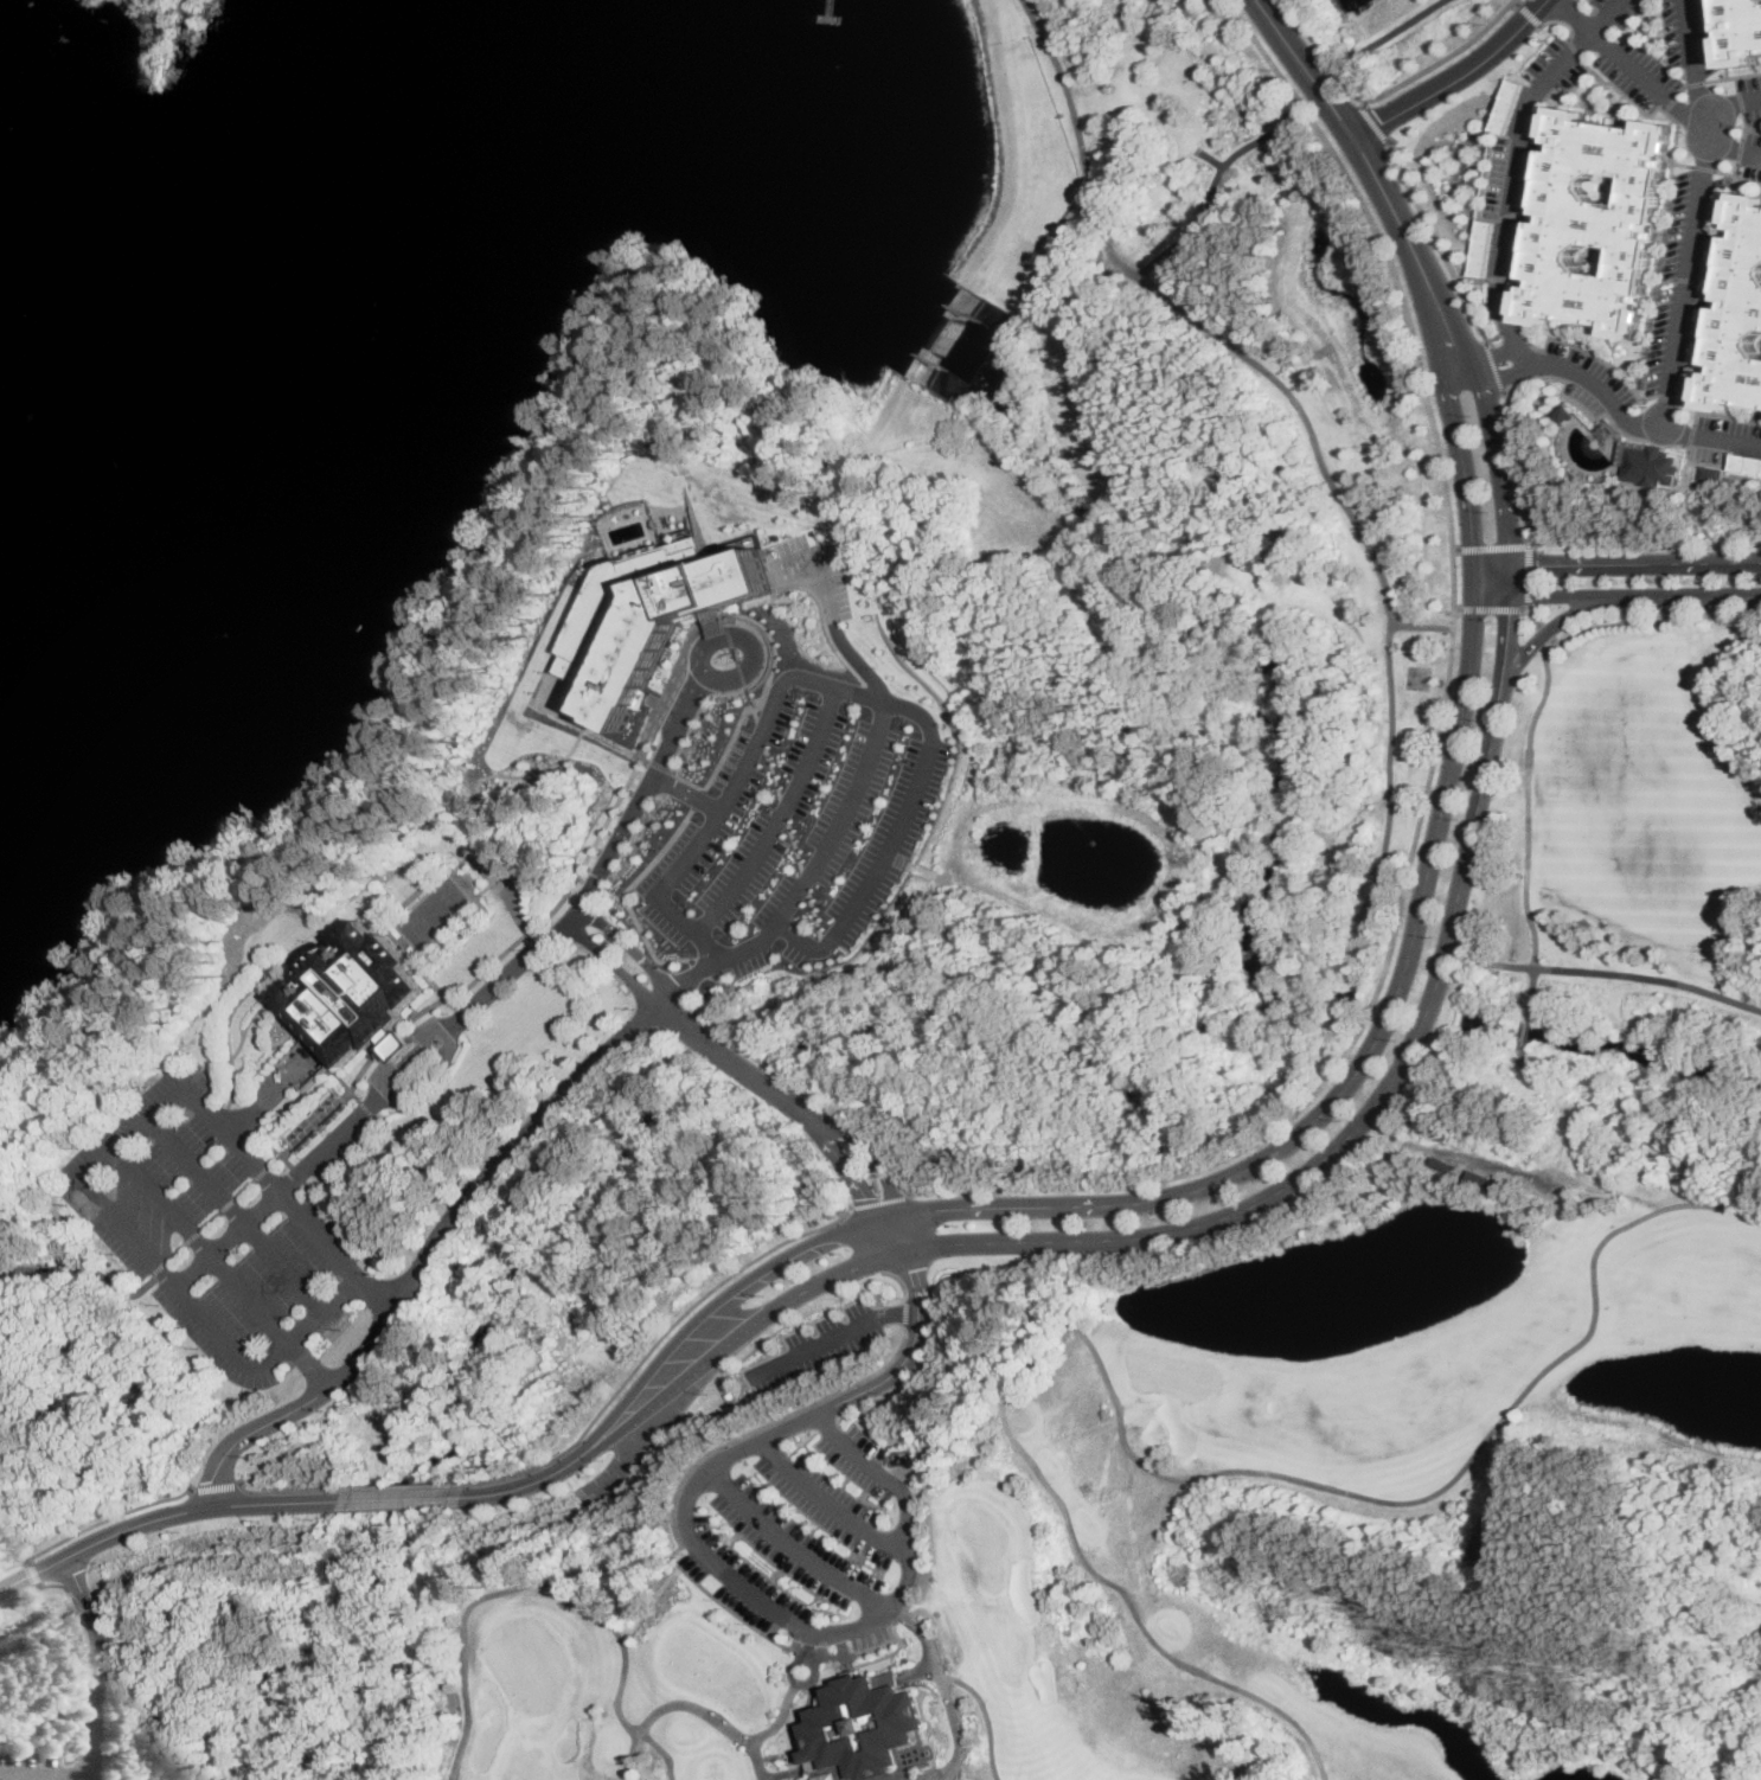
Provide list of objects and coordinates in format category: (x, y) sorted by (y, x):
parking lot: (1596, 1)
road: (1518, 2)
pier: (833, 8)
parking lot: (1627, 12)
road: (1530, 14)
road: (1575, 15)
pier: (832, 17)
road: (1560, 19)
road: (1397, 27)
parking lot: (1671, 31)
building: (1741, 32)
parking lot: (1704, 36)
road: (1718, 38)
road: (1573, 47)
parking lot: (1543, 55)
road: (1445, 60)
parking lot: (1648, 60)
road: (1583, 62)
road: (1314, 65)
road: (1691, 65)
road: (1742, 73)
parking lot: (1569, 76)
road: (1460, 77)
road: (1712, 78)
parking lot: (1622, 81)
road: (1647, 82)
road: (1692, 82)
parking lot: (1749, 82)
road: (1734, 83)
road: (1554, 88)
road: (1678, 88)
road: (1122, 89)
road: (1737, 100)
road: (1667, 102)
parking lot: (1506, 104)
building: (1507, 104)
road: (1610, 105)
road: (1730, 105)
road: (1118, 113)
parking lot: (1753, 114)
road: (1203, 122)
road: (1381, 123)
park: (1754, 123)
road: (1741, 126)
road: (1747, 126)
parking lot: (1750, 137)
road: (1731, 148)
road: (1736, 149)
road: (1679, 164)
road: (1701, 166)
parking lot: (1748, 168)
road: (1728, 174)
parking lot: (1496, 175)
road: (1210, 186)
parking lot: (1525, 196)
road: (1395, 201)
road: (1513, 212)
road: (1488, 218)
building: (1593, 222)
road: (1437, 237)
parking lot: (1483, 246)
building: (1483, 248)
road: (1253, 260)
road: (1462, 271)
road: (1685, 275)
road: (1497, 277)
road: (1715, 277)
parking lot: (1665, 281)
parking lot: (1698, 284)
road: (1500, 294)
building: (1737, 312)
dam: (937, 328)
road: (1494, 353)
road: (1490, 365)
parking lot: (1590, 369)
road: (1501, 371)
crop: (1083, 378)
road: (1560, 378)
road: (1664, 395)
parking lot: (1581, 396)
road: (1685, 398)
road: (1639, 399)
road: (1485, 410)
building: (1563, 412)
road: (1616, 414)
road: (1728, 415)
road: (1452, 416)
road: (1693, 417)
road: (1605, 424)
parking lot: (1728, 424)
road: (1312, 433)
road: (1689, 435)
road: (1203, 443)
parking lot: (1710, 453)
building: (1746, 462)
parking lot: (1746, 462)
building: (1650, 465)
building: (1712, 473)
road: (1100, 498)
road: (1486, 546)
road: (1615, 562)
road: (1523, 576)
road: (1538, 595)
road: (1683, 596)
road: (981, 600)
road: (1483, 609)
road: (1526, 612)
road: (1653, 616)
building: (652, 617)
road: (722, 619)
building: (719, 622)
road: (824, 625)
road: (1421, 626)
road: (835, 627)
road: (1499, 628)
road: (729, 633)
road: (1544, 633)
road: (1539, 634)
road: (735, 654)
road: (1379, 657)
road: (741, 674)
road: (728, 680)
road: (745, 689)
road: (869, 690)
road: (884, 699)
road: (751, 706)
road: (754, 713)
road: (736, 721)
road: (1247, 731)
road: (760, 732)
road: (1435, 745)
road: (659, 766)
road: (773, 771)
road: (649, 775)
road: (684, 793)
road: (697, 798)
road: (617, 799)
road: (1089, 800)
road: (1529, 802)
road: (785, 809)
road: (779, 818)
road: (843, 818)
road: (1346, 820)
road: (1288, 821)
parking lot: (802, 824)
road: (796, 845)
road: (658, 853)
road: (898, 858)
road: (480, 870)
road: (218, 872)
road: (582, 878)
road: (807, 881)
road: (594, 884)
road: (465, 889)
road: (512, 894)
road: (818, 915)
road: (646, 935)
road: (827, 942)
road: (320, 946)
road: (632, 948)
road: (525, 959)
road: (615, 965)
road: (706, 968)
road: (1622, 974)
road: (1532, 988)
building: (353, 997)
road: (230, 1014)
road: (1526, 1029)
road: (391, 1038)
building: (399, 1046)
road: (742, 1062)
road: (1365, 1065)
road: (1524, 1068)
road: (199, 1071)
road: (793, 1078)
road: (342, 1083)
road: (378, 1096)
road: (329, 1108)
road: (256, 1109)
road: (365, 1109)
building: (306, 1125)
road: (878, 1154)
road: (101, 1161)
building: (1446, 1164)
road: (854, 1168)
road: (1519, 1168)
building: (1478, 1179)
road: (322, 1186)
road: (274, 1189)
road: (886, 1202)
road: (235, 1214)
road: (1205, 1223)
road: (205, 1224)
parking lot: (222, 1227)
road: (443, 1229)
road: (867, 1238)
road: (220, 1269)
road: (897, 1280)
road: (736, 1293)
road: (902, 1312)
road: (828, 1336)
road: (658, 1343)
road: (902, 1343)
parking lot: (812, 1344)
road: (1132, 1451)
parking lot: (852, 1459)
road: (949, 1464)
road: (614, 1465)
road: (549, 1474)
road: (222, 1485)
road: (409, 1485)
road: (295, 1488)
road: (404, 1498)
parking lot: (819, 1504)
road: (819, 1507)
road: (164, 1515)
park: (1186, 1519)
road: (95, 1524)
parking lot: (786, 1547)
road: (783, 1550)
road: (26, 1561)
road: (32, 1573)
parking lot: (736, 1579)
building: (934, 1579)
road: (543, 1582)
road: (702, 1588)
building: (937, 1613)
road: (800, 1626)
road: (90, 1659)
road: (96, 1664)
road: (787, 1664)
building: (947, 1664)
road: (916, 1670)
road: (956, 1678)
road: (806, 1683)
road: (789, 1684)
road: (809, 1685)
road: (683, 1703)
building: (860, 1723)
road: (956, 1733)
building: (824, 1776)
road: (43, 1778)
road: (85, 1779)

